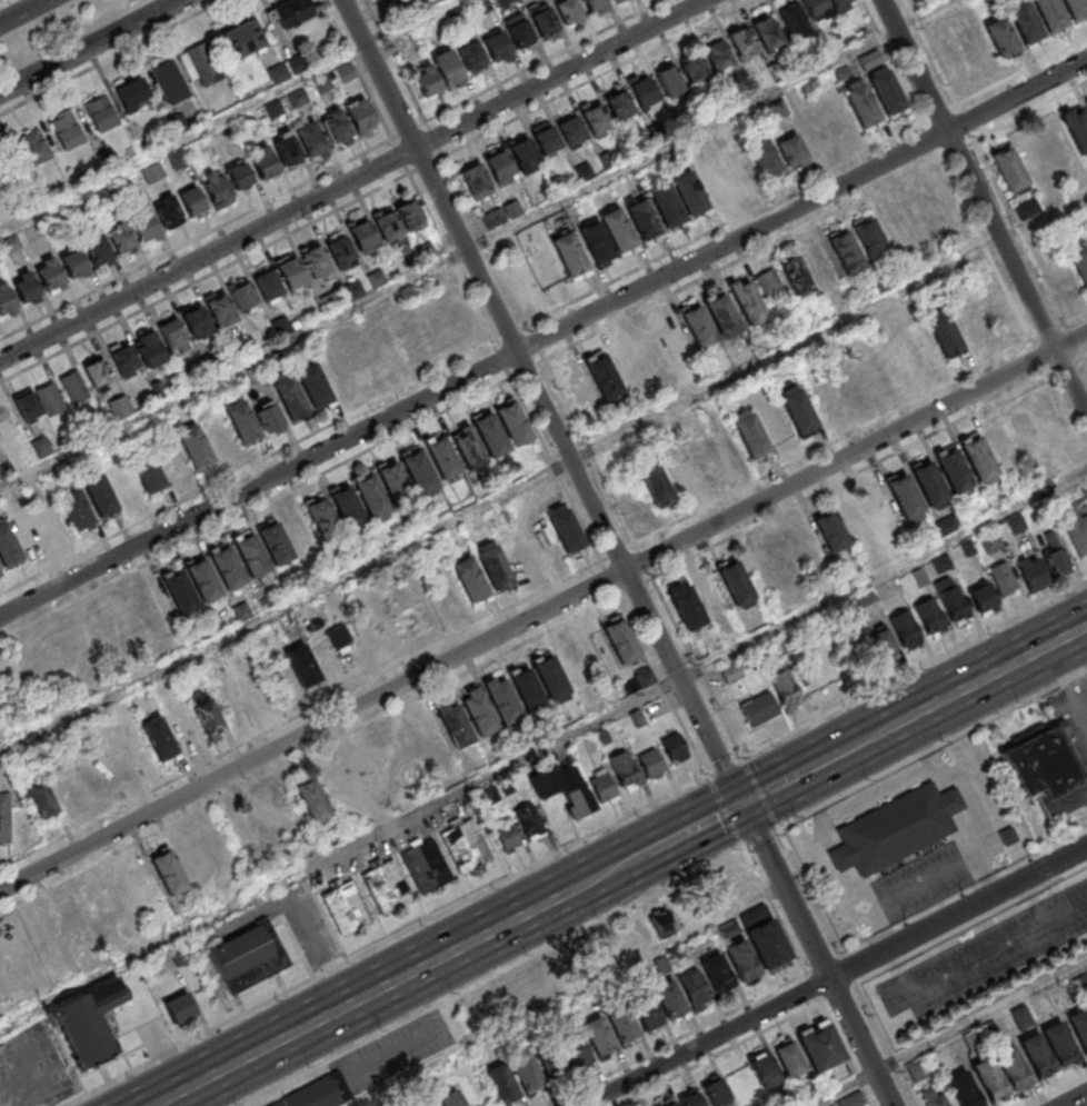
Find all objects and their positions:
road: (0, 0)
building: (838, 1)
building: (594, 6)
building: (819, 7)
building: (1076, 10)
road: (23, 11)
building: (291, 13)
building: (1053, 18)
building: (792, 19)
building: (1027, 29)
building: (518, 32)
building: (770, 33)
building: (999, 37)
building: (242, 39)
road: (90, 46)
building: (496, 47)
building: (975, 48)
building: (719, 52)
building: (470, 56)
road: (111, 57)
building: (870, 61)
building: (695, 64)
building: (202, 66)
road: (357, 69)
building: (343, 73)
building: (437, 74)
building: (170, 82)
building: (886, 88)
building: (646, 90)
building: (131, 94)
building: (861, 102)
building: (1086, 102)
building: (620, 103)
building: (100, 114)
road: (227, 116)
building: (360, 116)
building: (597, 117)
building: (837, 119)
building: (337, 127)
building: (1078, 127)
building: (572, 128)
building: (66, 131)
building: (812, 131)
building: (547, 136)
building: (313, 140)
building: (32, 148)
building: (289, 149)
building: (525, 150)
building: (791, 152)
building: (1033, 156)
building: (766, 159)
building: (177, 160)
building: (267, 161)
building: (500, 162)
building: (738, 168)
building: (1009, 170)
building: (241, 173)
building: (476, 175)
building: (714, 180)
road: (352, 181)
road: (996, 183)
building: (219, 187)
building: (690, 191)
building: (193, 200)
building: (944, 202)
building: (668, 203)
road: (984, 206)
building: (170, 212)
building: (500, 216)
building: (919, 216)
building: (398, 220)
building: (642, 220)
building: (147, 226)
road: (975, 226)
building: (618, 227)
building: (894, 227)
building: (362, 237)
building: (122, 238)
road: (196, 238)
building: (871, 238)
building: (598, 239)
road: (480, 245)
building: (99, 250)
building: (339, 251)
building: (847, 251)
building: (571, 252)
building: (1079, 257)
building: (74, 261)
building: (316, 263)
building: (51, 273)
building: (290, 273)
building: (522, 276)
building: (796, 277)
building: (267, 283)
building: (27, 288)
building: (245, 293)
building: (7, 298)
building: (748, 301)
building: (219, 306)
building: (722, 313)
building: (196, 318)
building: (969, 320)
building: (698, 325)
building: (171, 333)
building: (946, 333)
road: (543, 339)
building: (398, 343)
building: (148, 348)
building: (920, 348)
building: (650, 353)
building: (122, 359)
building: (361, 360)
building: (627, 363)
building: (98, 370)
building: (337, 373)
building: (871, 375)
building: (255, 376)
building: (602, 377)
building: (313, 385)
building: (74, 388)
building: (579, 391)
building: (849, 392)
building: (290, 397)
building: (50, 399)
building: (28, 403)
building: (119, 408)
building: (797, 409)
building: (7, 420)
building: (269, 420)
building: (242, 421)
building: (513, 422)
building: (491, 434)
building: (750, 434)
building: (1027, 434)
building: (219, 435)
building: (1057, 435)
building: (195, 446)
building: (468, 446)
building: (1003, 447)
building: (725, 448)
building: (445, 456)
building: (978, 459)
building: (701, 460)
building: (419, 469)
building: (955, 469)
building: (148, 474)
building: (679, 476)
road: (543, 477)
building: (396, 481)
building: (929, 481)
building: (655, 482)
road: (587, 489)
building: (905, 494)
building: (371, 495)
building: (100, 496)
building: (349, 507)
building: (76, 509)
building: (321, 517)
building: (51, 519)
building: (856, 522)
building: (1015, 522)
building: (946, 525)
building: (567, 528)
building: (298, 529)
building: (831, 530)
building: (1076, 531)
building: (28, 534)
building: (276, 544)
building: (8, 548)
building: (1054, 554)
building: (252, 555)
building: (782, 559)
building: (941, 564)
building: (496, 566)
building: (228, 567)
building: (1031, 574)
road: (884, 576)
building: (470, 577)
building: (1003, 578)
building: (205, 579)
building: (735, 580)
building: (181, 591)
road: (543, 591)
building: (710, 595)
building: (951, 598)
building: (983, 599)
building: (154, 602)
building: (865, 602)
building: (421, 606)
building: (687, 606)
road: (543, 612)
building: (930, 617)
building: (398, 618)
building: (905, 627)
building: (107, 628)
building: (373, 630)
building: (620, 640)
building: (881, 640)
building: (350, 644)
building: (327, 654)
building: (33, 661)
building: (574, 664)
building: (302, 667)
road: (914, 667)
road: (993, 675)
building: (550, 677)
building: (642, 677)
building: (784, 684)
building: (526, 688)
building: (501, 699)
building: (230, 700)
building: (758, 708)
building: (477, 710)
building: (207, 716)
building: (455, 723)
building: (430, 739)
road: (868, 739)
building: (159, 740)
building: (674, 747)
road: (933, 747)
road: (309, 756)
building: (110, 764)
building: (382, 764)
building: (650, 764)
road: (819, 764)
road: (724, 766)
building: (1047, 769)
building: (624, 770)
building: (88, 775)
building: (359, 776)
building: (63, 787)
building: (507, 787)
building: (565, 787)
building: (601, 787)
road: (771, 788)
building: (336, 789)
road: (759, 790)
building: (492, 796)
building: (311, 797)
building: (40, 799)
traffic signals: (742, 805)
road: (724, 810)
building: (4, 818)
building: (530, 825)
building: (265, 826)
road: (696, 828)
building: (897, 829)
building: (508, 837)
road: (760, 837)
building: (467, 847)
building: (217, 850)
road: (340, 856)
building: (427, 867)
road: (620, 867)
building: (169, 870)
building: (387, 887)
road: (817, 906)
building: (348, 908)
road: (774, 908)
road: (959, 913)
building: (72, 920)
building: (662, 924)
road: (971, 926)
building: (765, 937)
road: (383, 940)
building: (180, 954)
parking lot: (989, 955)
building: (248, 956)
building: (739, 960)
building: (659, 965)
building: (715, 973)
road: (488, 976)
building: (1081, 983)
building: (691, 987)
road: (373, 994)
road: (570, 995)
building: (667, 997)
building: (180, 1008)
building: (644, 1009)
building: (1023, 1017)
building: (87, 1020)
building: (618, 1022)
building: (1080, 1025)
road: (949, 1034)
building: (596, 1035)
road: (674, 1038)
building: (973, 1039)
road: (707, 1043)
road: (860, 1043)
building: (1060, 1043)
building: (820, 1046)
road: (885, 1046)
building: (572, 1049)
road: (716, 1053)
road: (845, 1053)
building: (1038, 1055)
building: (787, 1059)
building: (1014, 1067)
building: (917, 1069)
building: (762, 1070)
building: (523, 1073)
building: (990, 1079)
building: (499, 1083)
building: (965, 1089)
road: (1056, 1089)
building: (712, 1092)
building: (317, 1094)
building: (933, 1097)
building: (448, 1098)
building: (688, 1099)
building: (851, 1099)
road: (1075, 1099)
building: (428, 1104)
building: (668, 1104)

